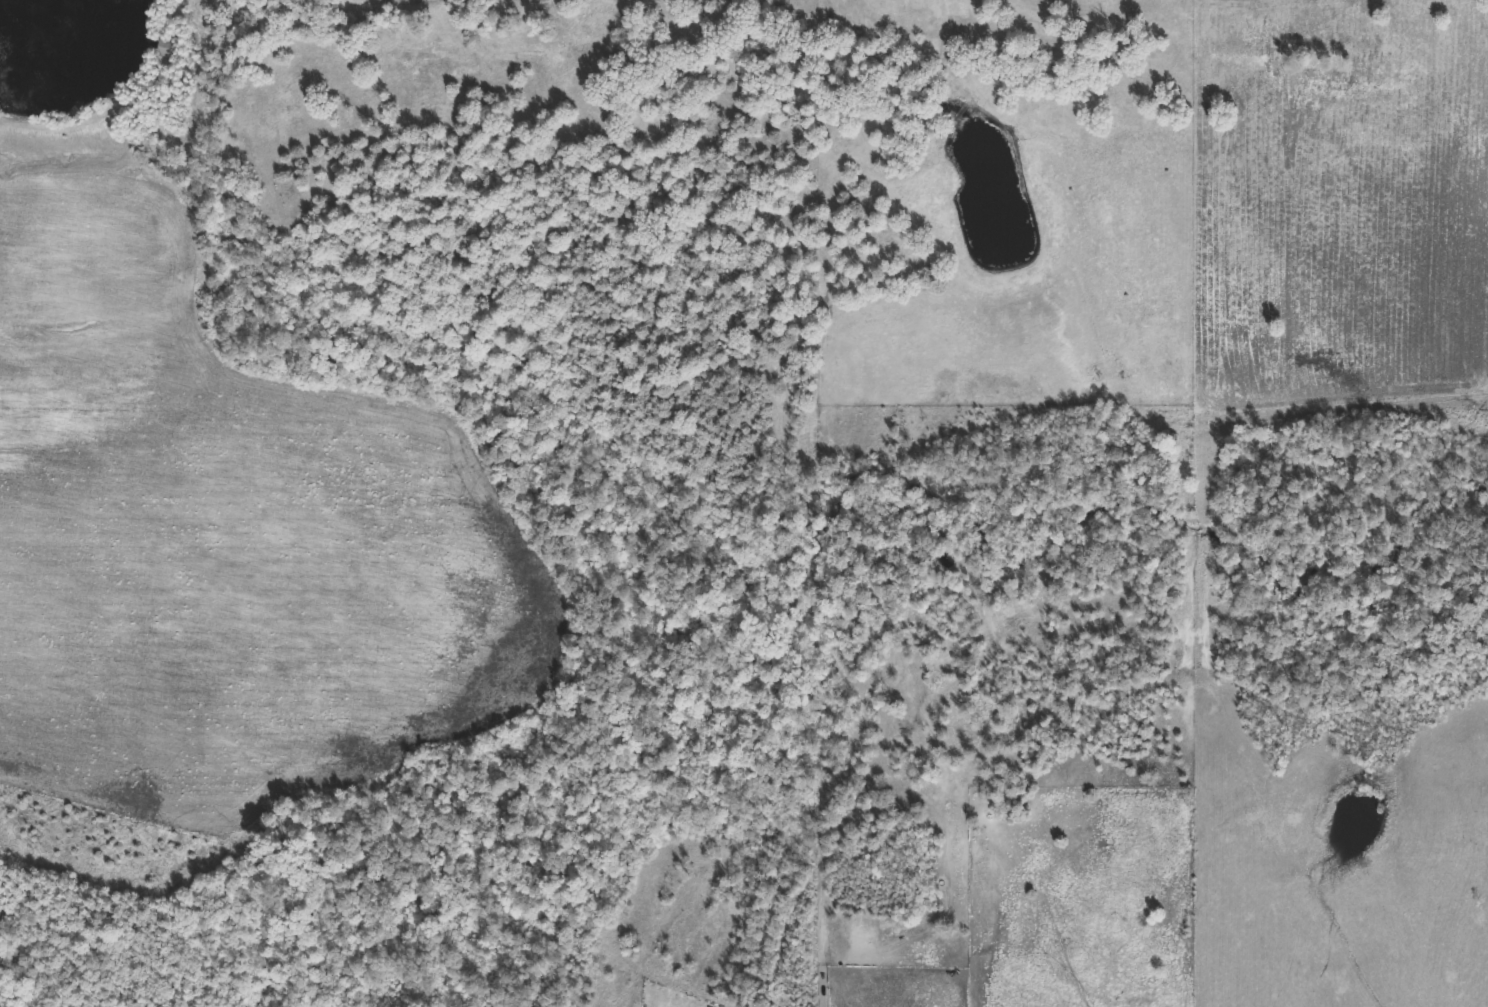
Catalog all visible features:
building: (168, 49)

